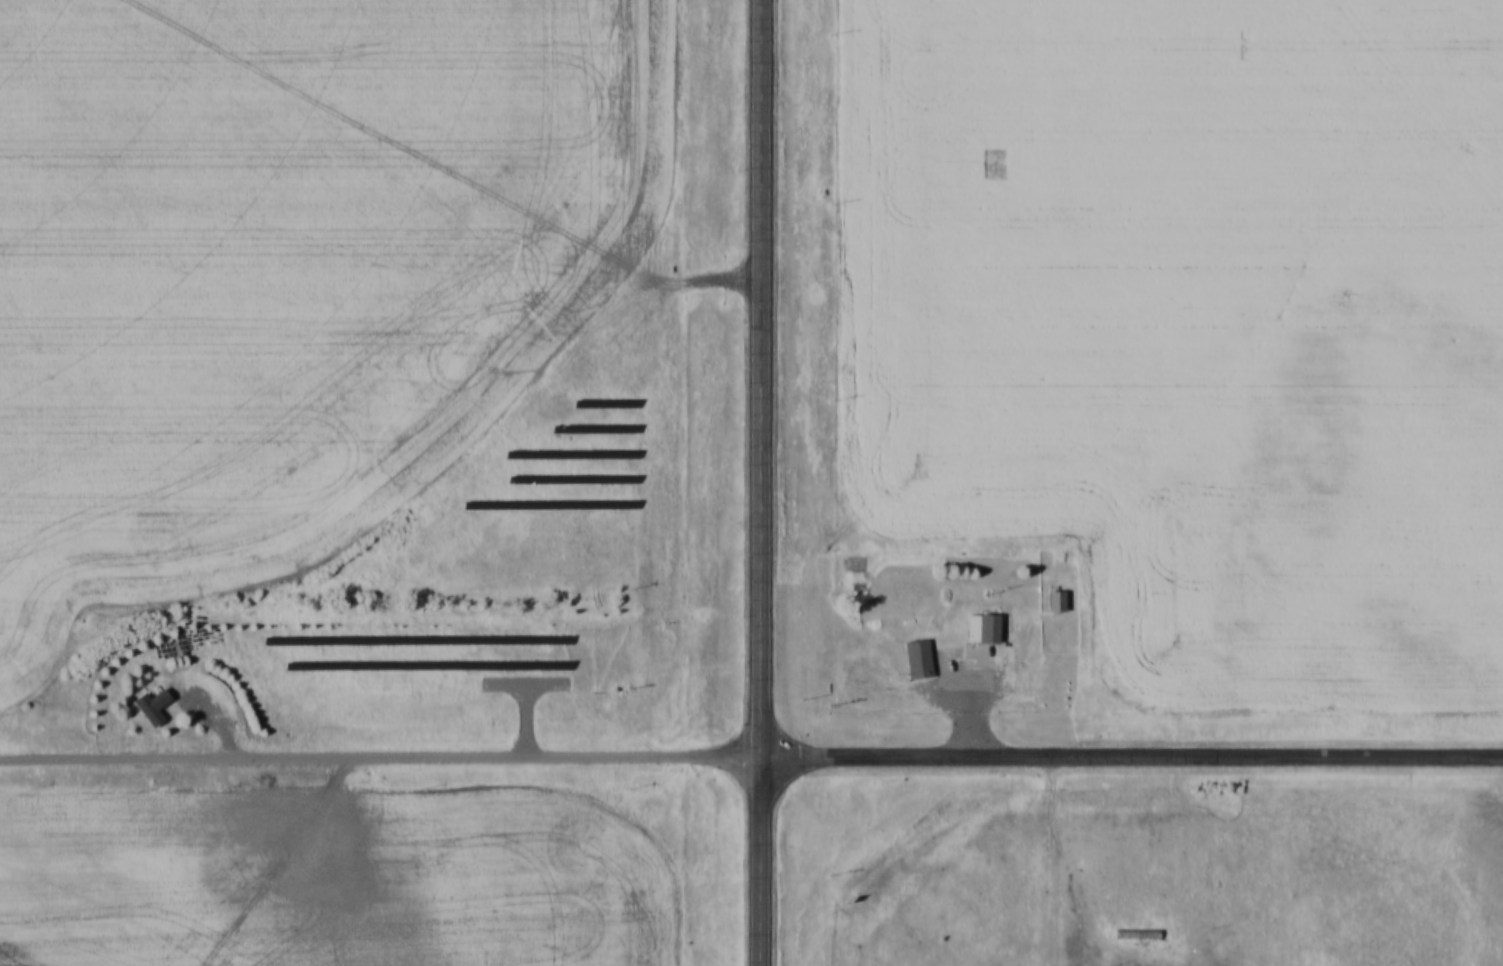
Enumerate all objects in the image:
road: (764, 483)
building: (985, 628)
building: (918, 658)
road: (973, 700)
building: (155, 705)
road: (382, 752)
road: (1133, 755)
road: (1078, 873)
crop: (331, 882)
building: (1136, 934)

